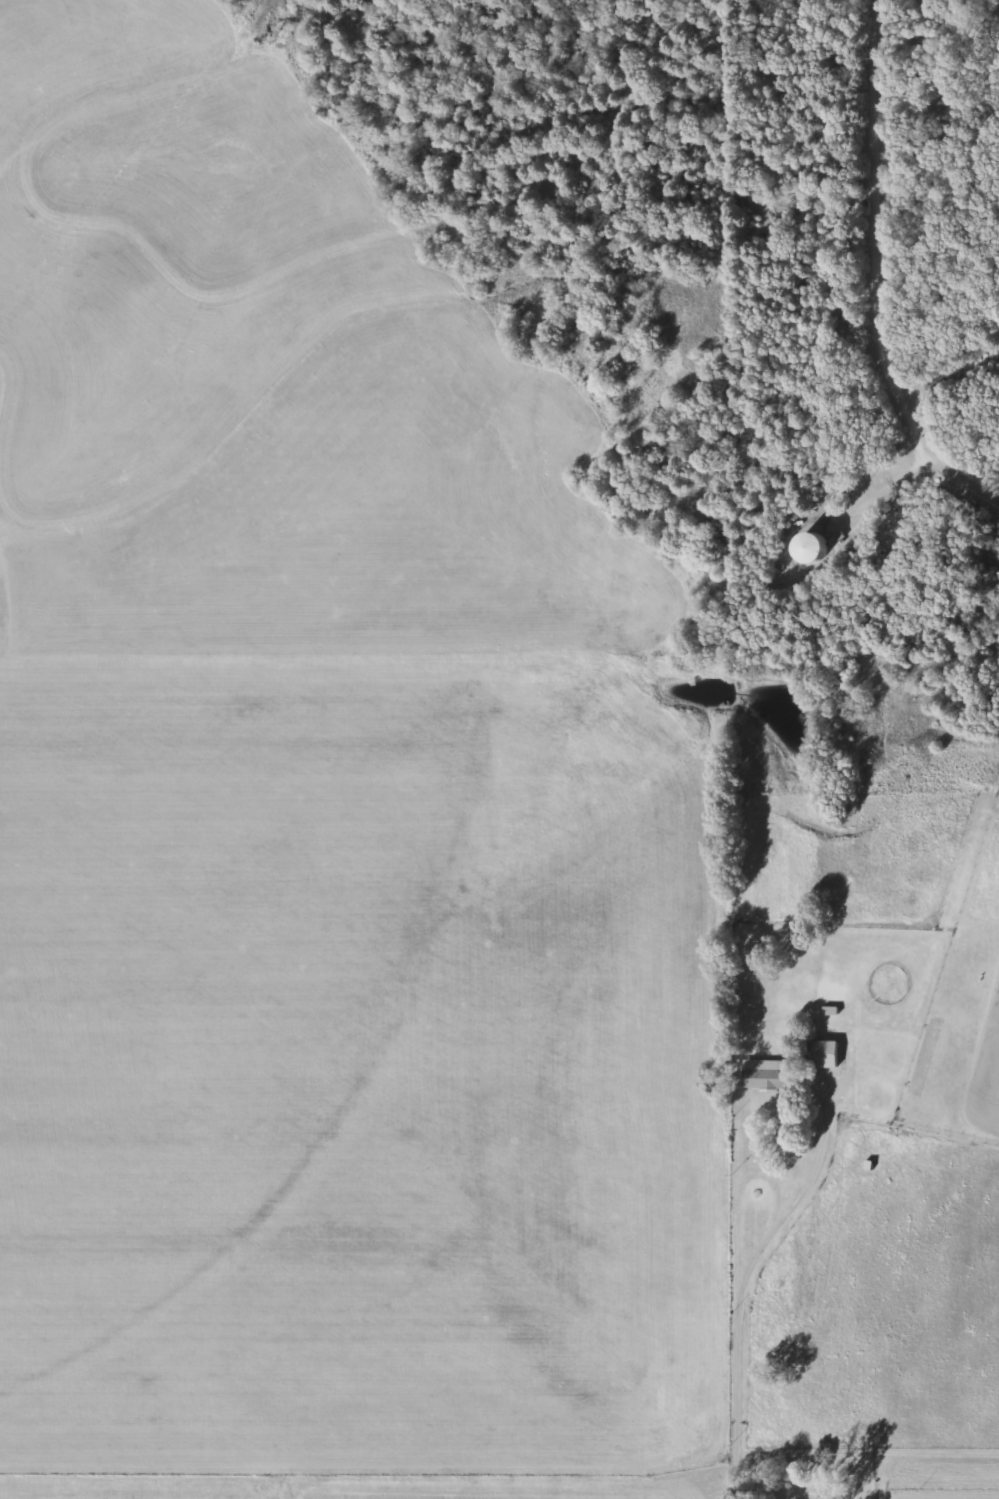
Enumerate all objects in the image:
road: (873, 222)
road: (961, 414)
road: (959, 467)
road: (942, 501)
building: (817, 546)
building: (820, 1053)
building: (768, 1078)
road: (743, 1278)

